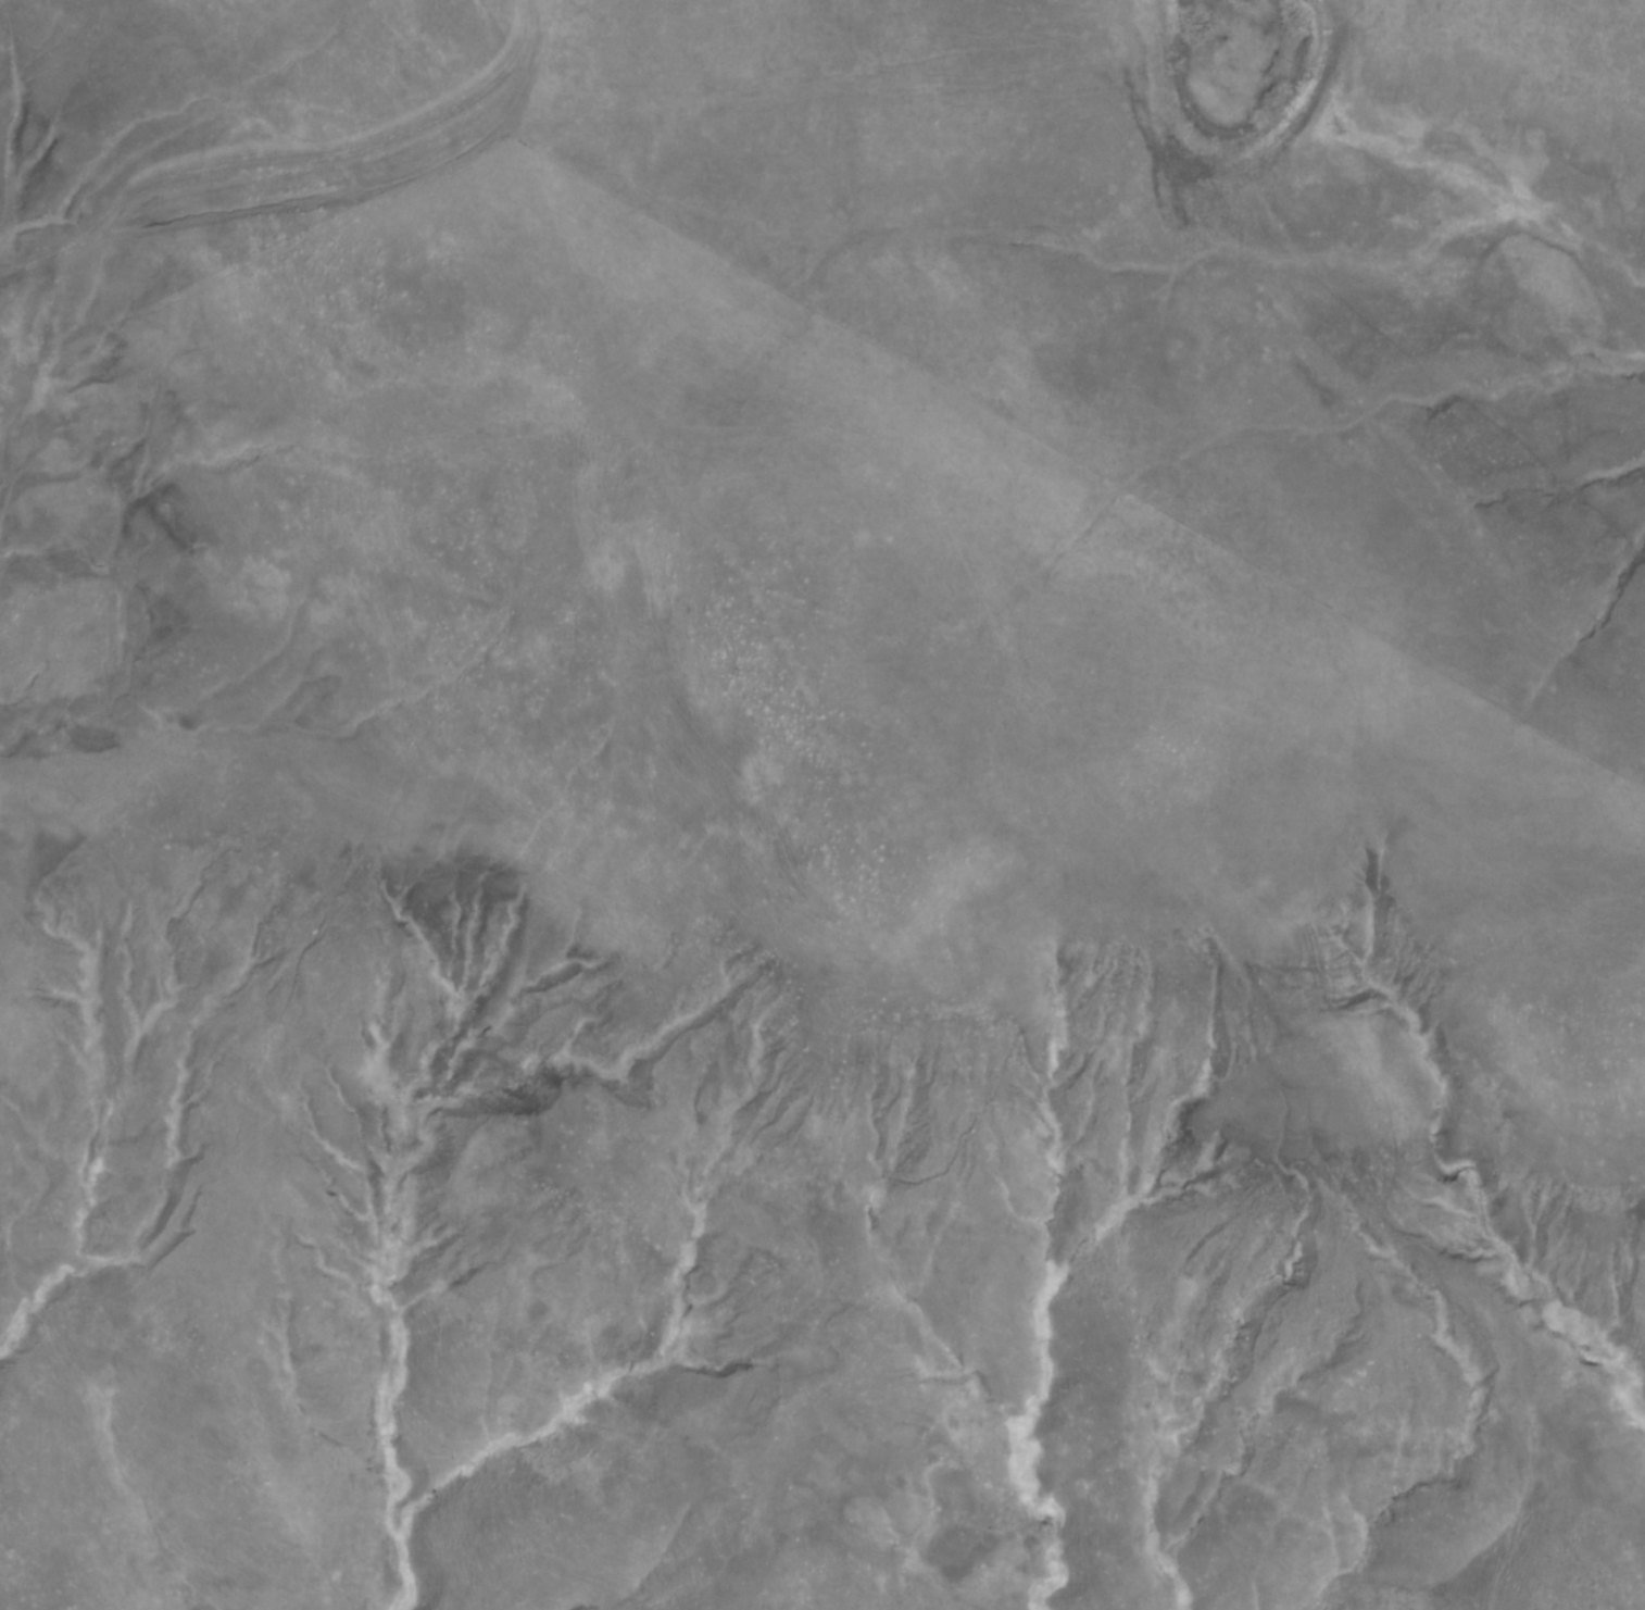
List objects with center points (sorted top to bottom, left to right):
road: (519, 37)
road: (287, 191)

